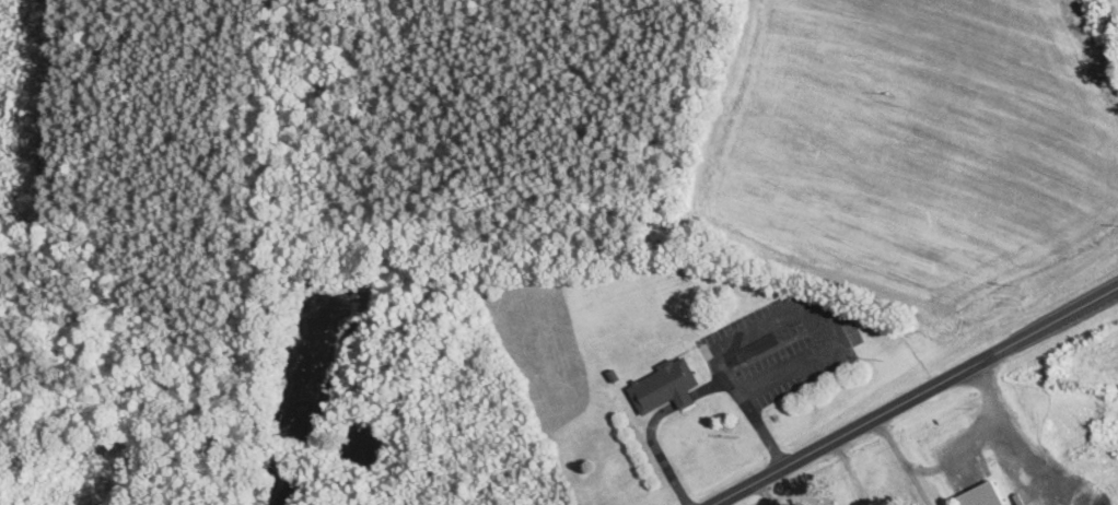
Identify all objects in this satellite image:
road: (829, 329)
road: (721, 366)
building: (615, 374)
building: (664, 384)
road: (916, 394)
building: (686, 399)
road: (686, 399)
road: (749, 406)
road: (656, 451)
building: (986, 496)

